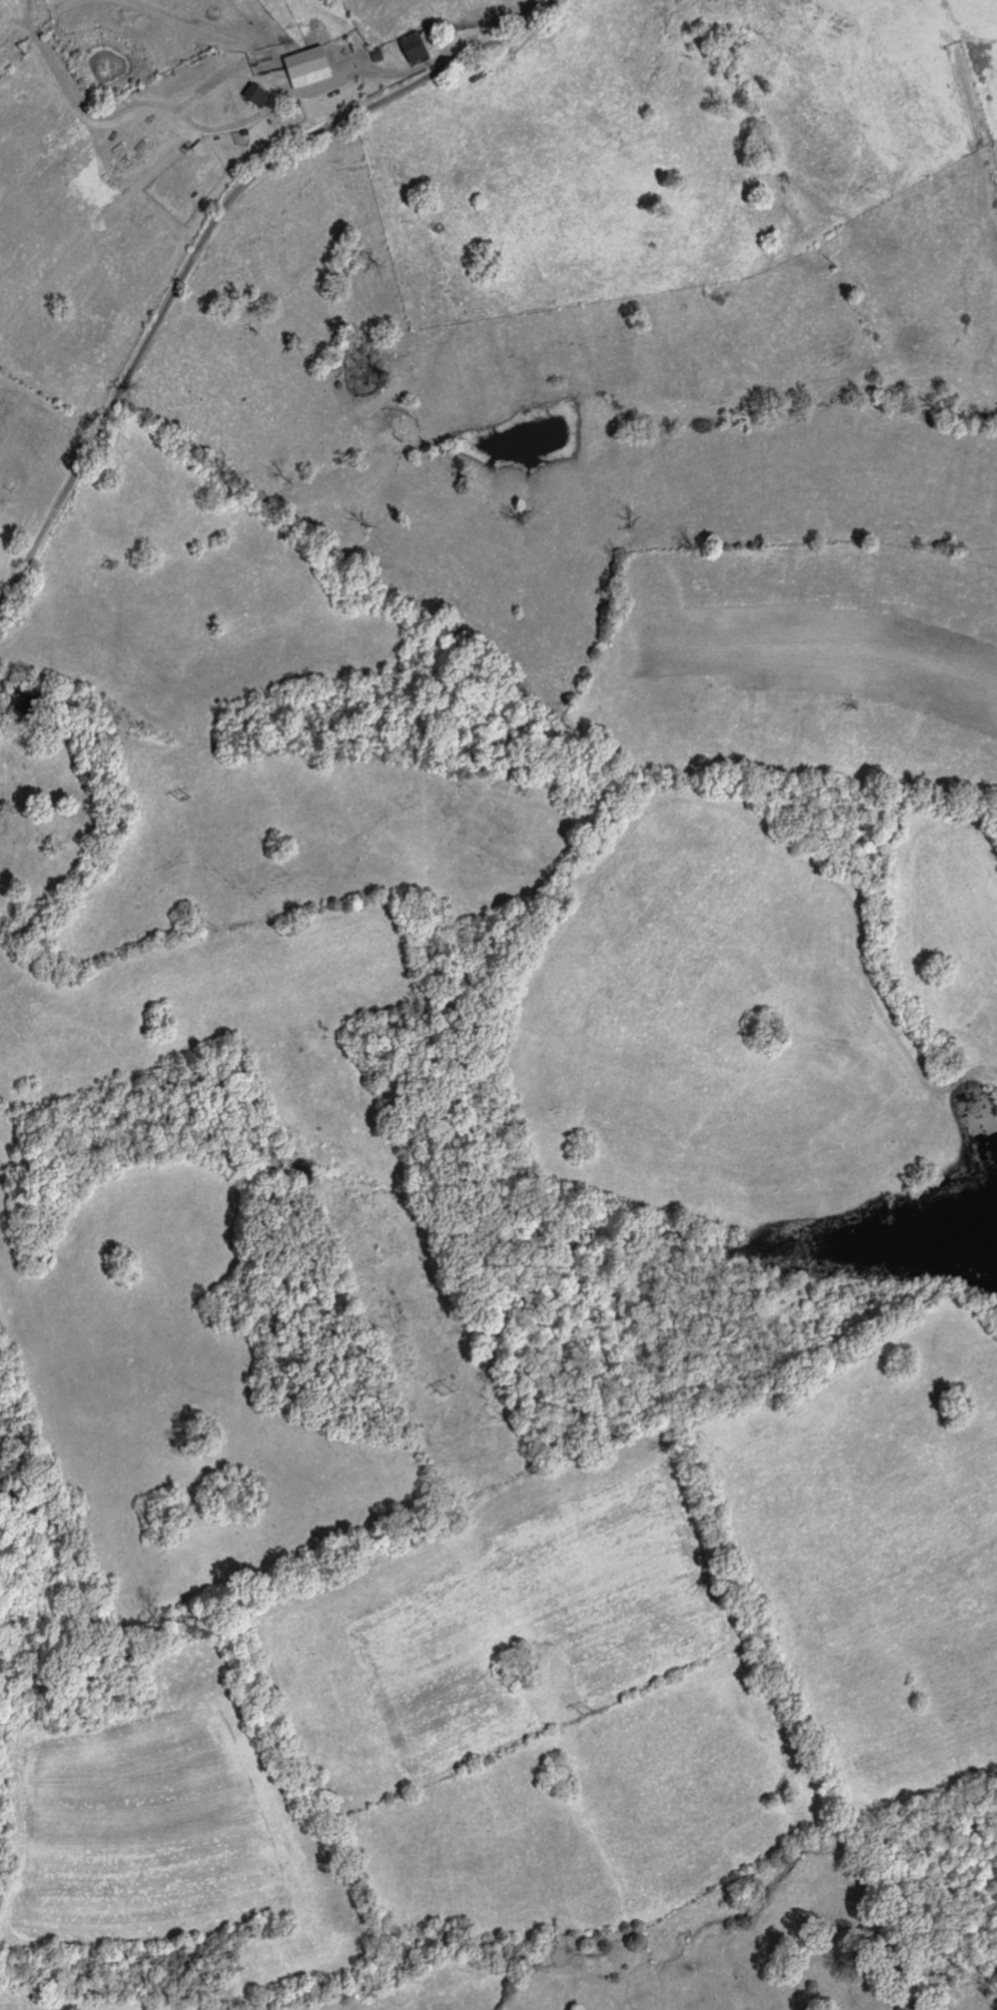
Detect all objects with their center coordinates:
building: (419, 47)
building: (313, 67)
road: (396, 70)
building: (261, 95)
road: (207, 237)
power tower: (181, 796)
power tower: (449, 1401)
power tower: (586, 1714)

